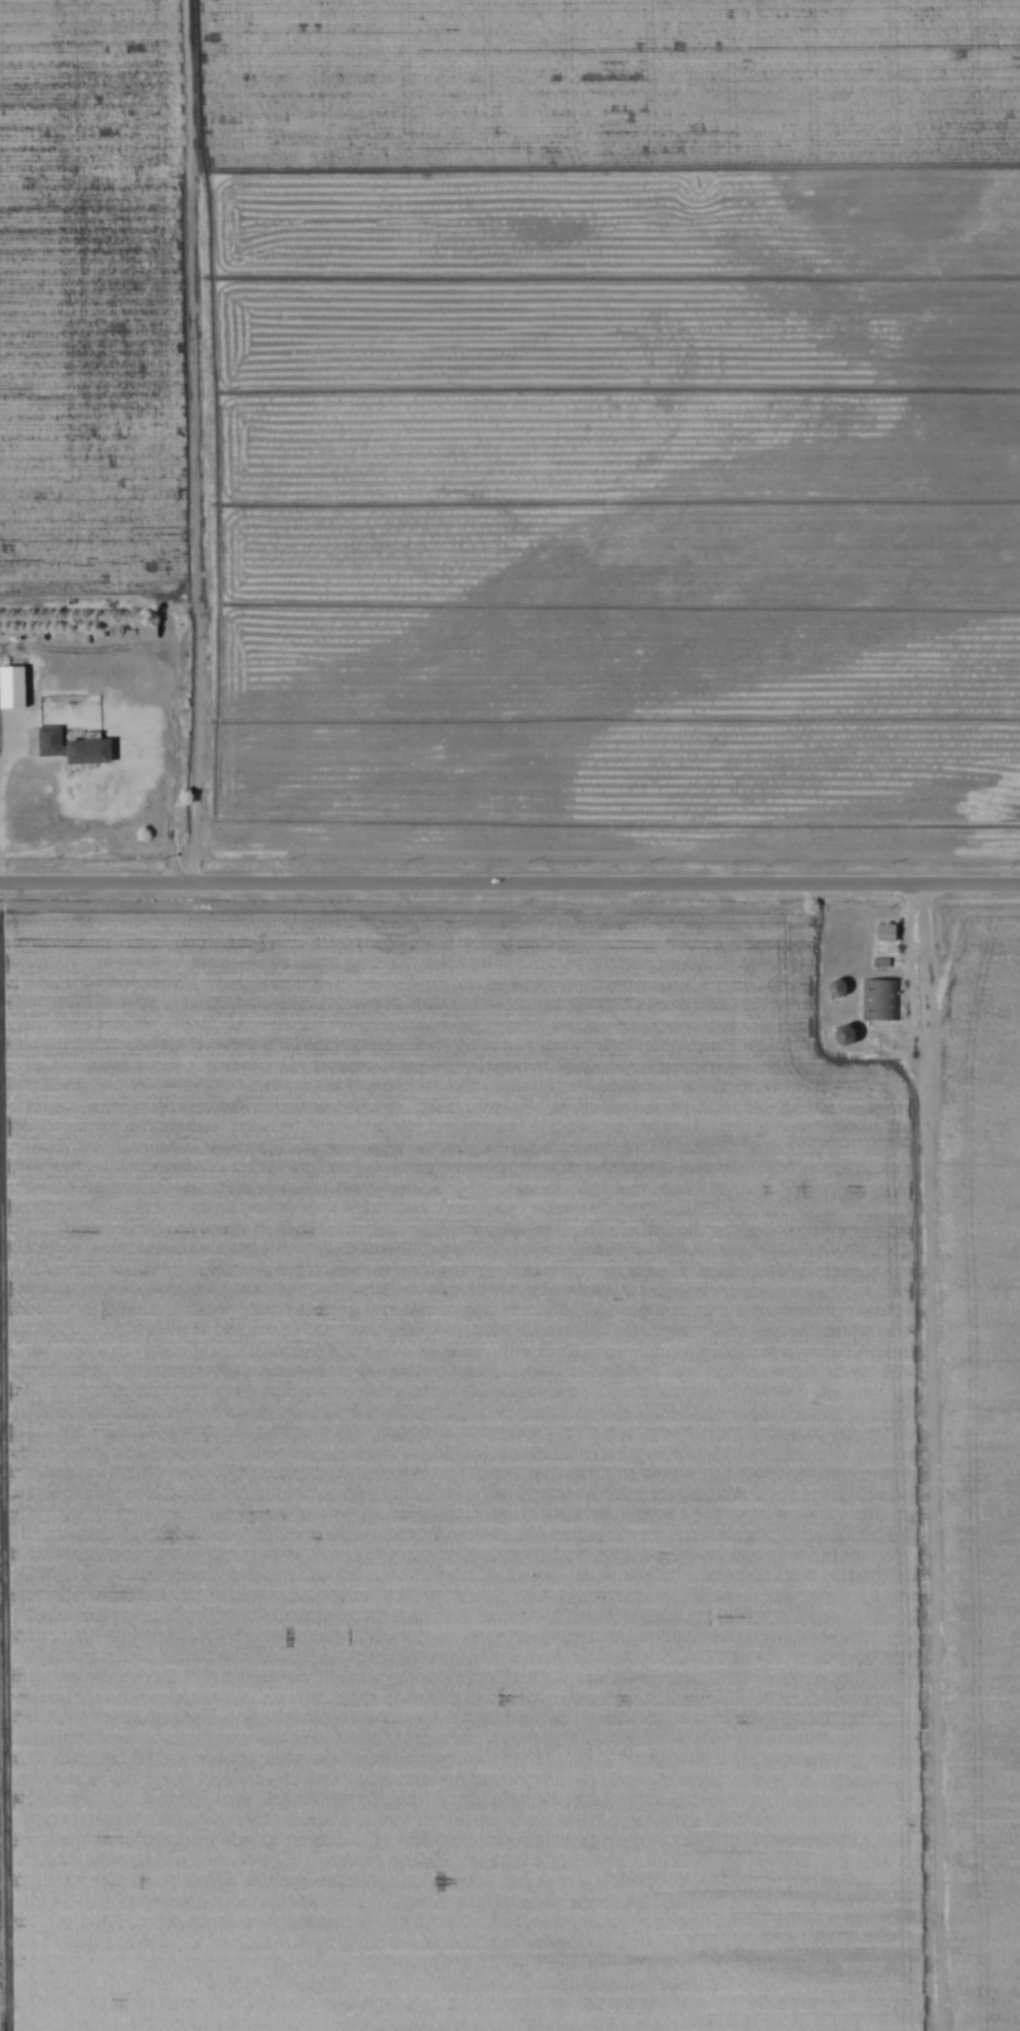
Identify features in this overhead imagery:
crop: (96, 294)
crop: (617, 428)
building: (152, 630)
road: (510, 886)
building: (889, 930)
building: (883, 960)
building: (842, 986)
building: (881, 997)
road: (928, 1002)
building: (852, 1033)
crop: (458, 1478)

